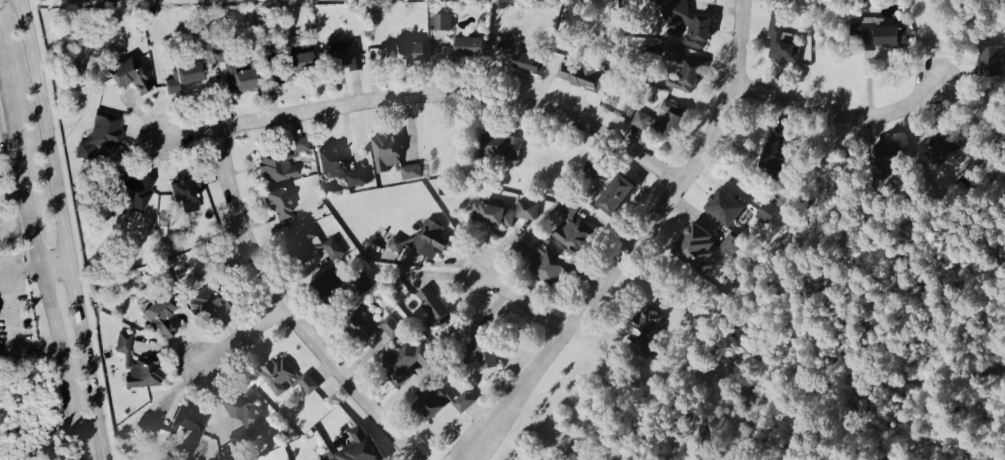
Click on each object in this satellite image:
building: (89, 0)
building: (156, 3)
building: (151, 13)
building: (687, 23)
building: (441, 24)
building: (877, 36)
building: (297, 41)
building: (781, 44)
building: (466, 50)
building: (297, 51)
building: (422, 54)
building: (401, 55)
building: (342, 57)
building: (520, 62)
building: (298, 64)
building: (991, 65)
building: (579, 77)
building: (689, 77)
building: (129, 78)
building: (182, 79)
building: (238, 79)
road: (429, 94)
road: (838, 114)
building: (673, 119)
building: (101, 135)
building: (507, 149)
building: (940, 150)
building: (775, 153)
building: (392, 159)
building: (280, 164)
building: (889, 165)
building: (338, 170)
building: (188, 195)
building: (134, 197)
building: (615, 197)
building: (277, 207)
building: (724, 210)
building: (526, 212)
building: (765, 215)
building: (491, 217)
road: (64, 229)
building: (575, 238)
road: (632, 242)
building: (421, 243)
building: (729, 247)
building: (332, 251)
building: (695, 252)
building: (306, 253)
road: (39, 260)
building: (544, 264)
road: (36, 269)
road: (520, 303)
building: (203, 304)
building: (433, 307)
road: (284, 311)
building: (159, 319)
building: (367, 329)
building: (391, 329)
building: (646, 329)
road: (13, 331)
road: (240, 336)
building: (123, 344)
park: (820, 363)
building: (406, 364)
building: (143, 375)
building: (285, 380)
building: (444, 403)
park: (24, 414)
building: (239, 420)
building: (175, 430)
building: (359, 447)

